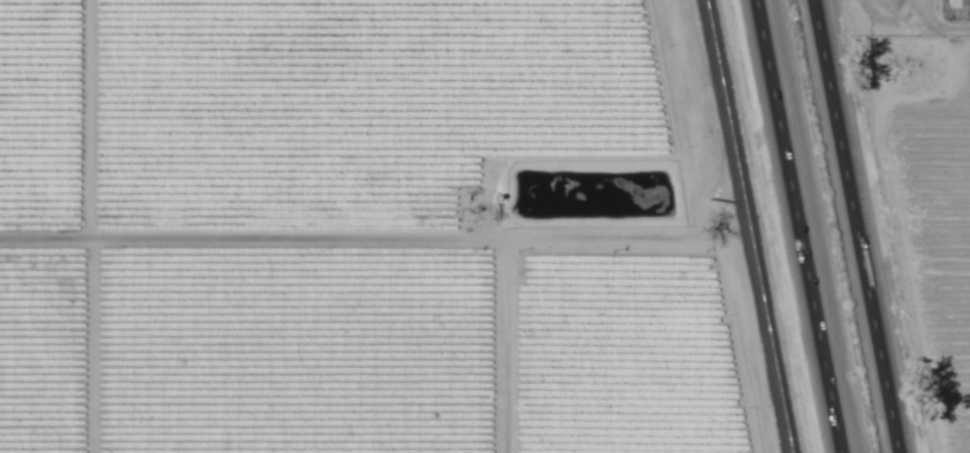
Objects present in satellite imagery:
building: (957, 4)
railway: (746, 226)
road: (794, 226)
road: (853, 226)
crop: (479, 229)
road: (254, 249)

